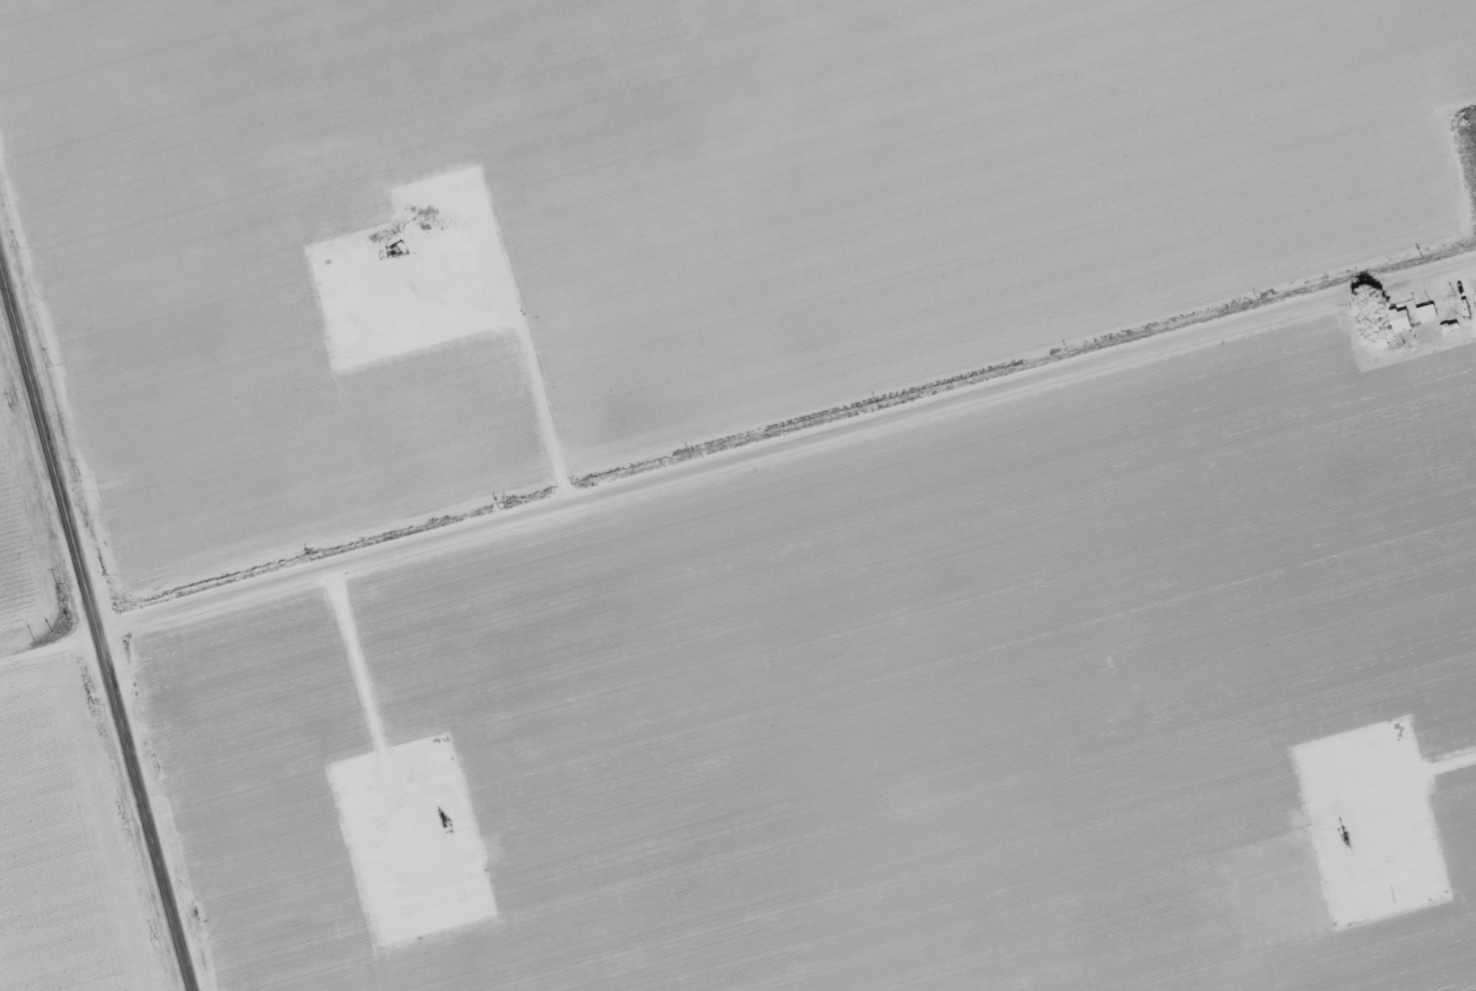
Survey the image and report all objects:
building: (1402, 321)
road: (1392, 357)
road: (784, 443)
road: (92, 627)

